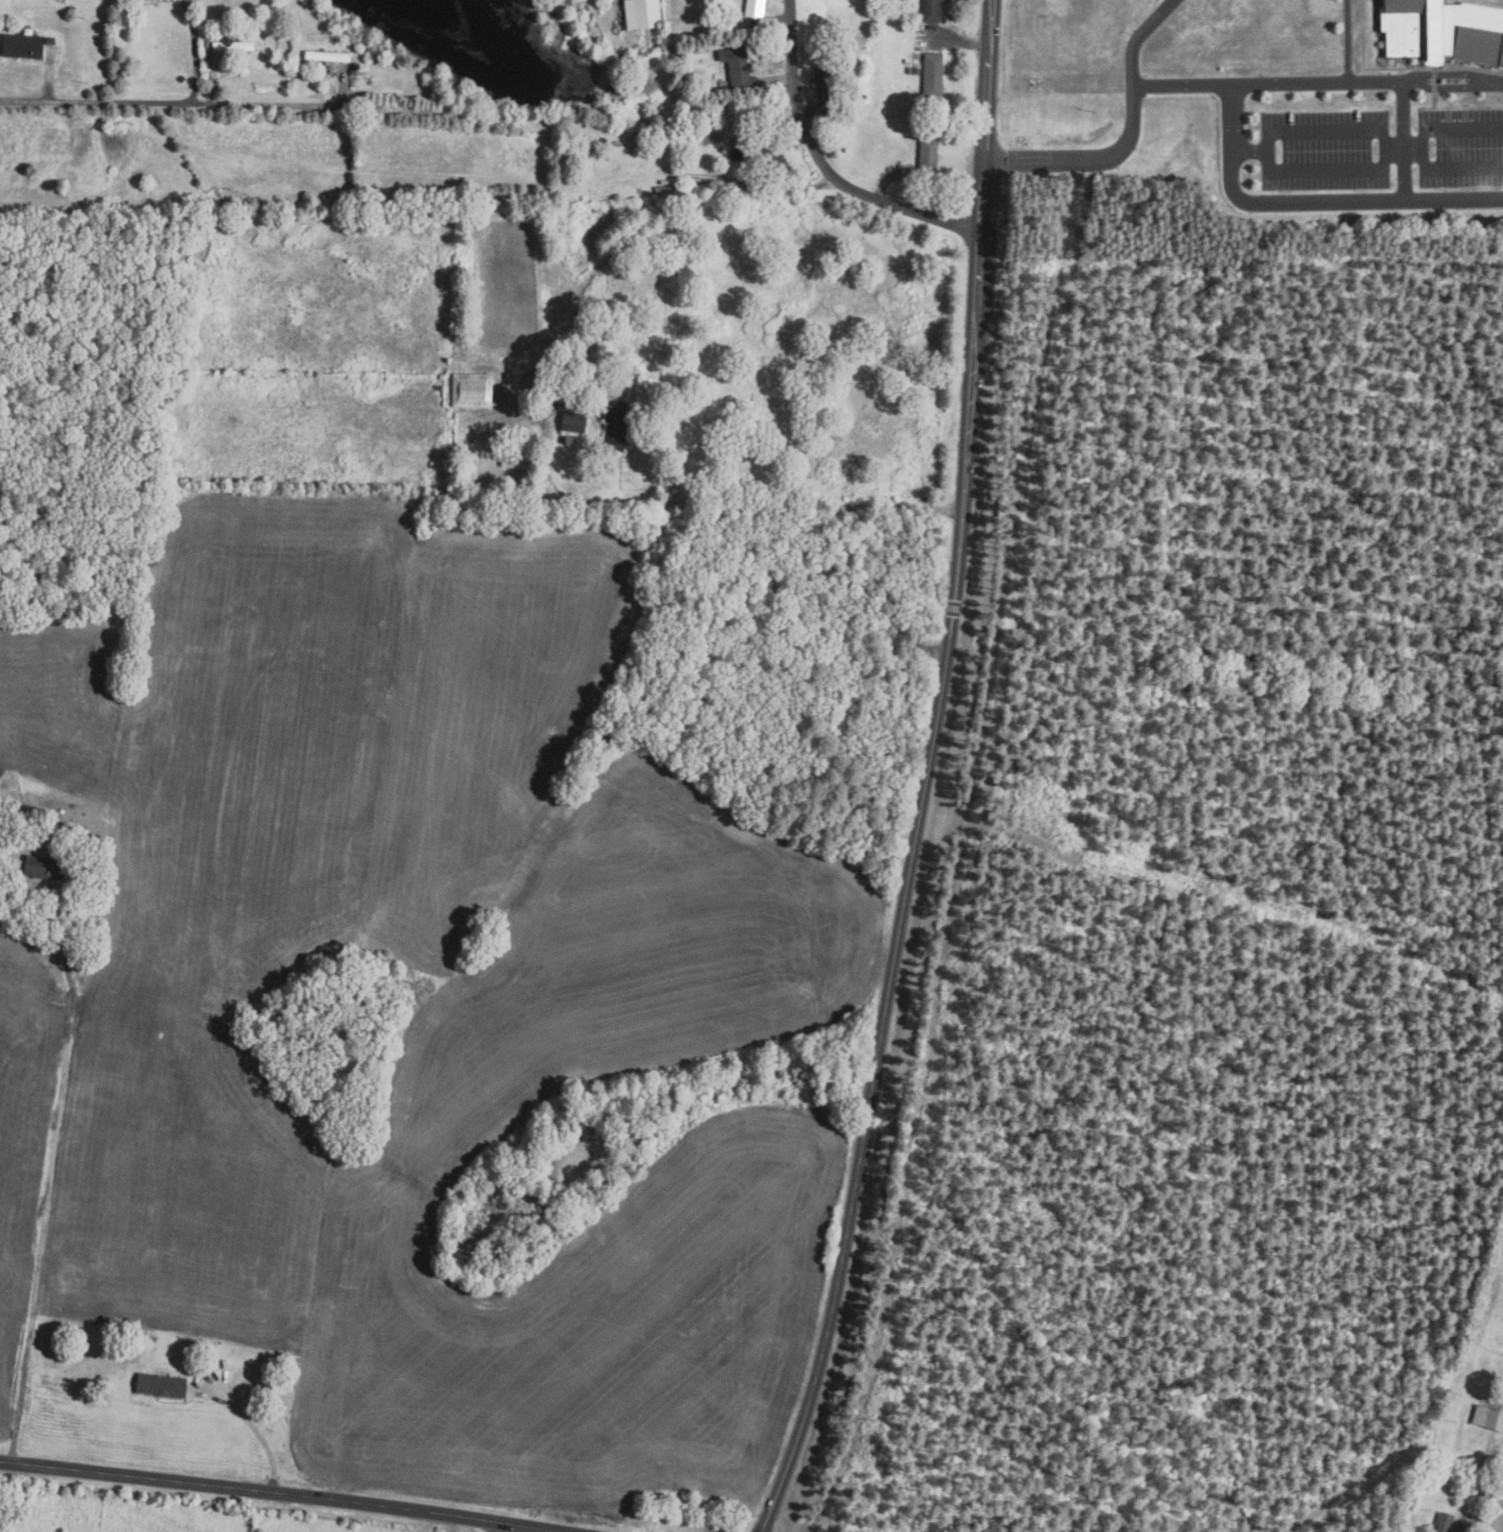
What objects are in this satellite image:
building: (756, 8)
building: (933, 11)
building: (643, 14)
building: (1443, 31)
building: (232, 44)
building: (23, 46)
building: (206, 46)
building: (49, 50)
road: (195, 52)
building: (328, 56)
building: (738, 67)
building: (934, 75)
building: (825, 79)
road: (1384, 80)
road: (50, 81)
road: (1287, 83)
road: (169, 105)
road: (1453, 128)
road: (1384, 132)
road: (1128, 137)
road: (1405, 138)
parking lot: (1461, 148)
road: (1404, 149)
parking lot: (1325, 151)
building: (770, 152)
building: (929, 157)
road: (826, 166)
road: (1453, 168)
building: (663, 190)
road: (1264, 200)
building: (472, 389)
building: (574, 421)
building: (617, 424)
building: (570, 438)
building: (516, 463)
road: (710, 504)
road: (928, 774)
building: (78, 835)
building: (44, 868)
road: (51, 1167)
building: (210, 1365)
building: (162, 1385)
building: (1489, 1418)
road: (253, 1427)
road: (284, 1493)
building: (1444, 1522)
road: (1460, 1527)
road: (520, 1528)

